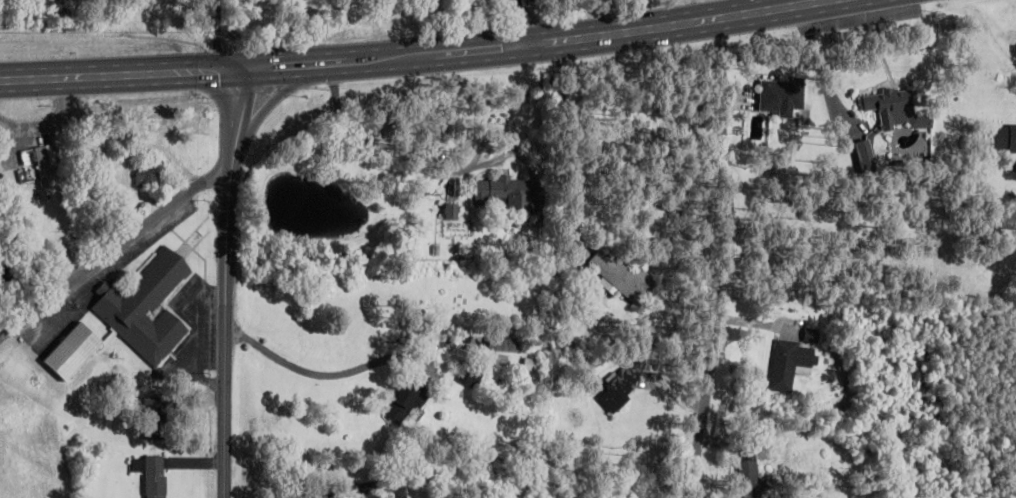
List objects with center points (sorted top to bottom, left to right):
park: (577, 5)
road: (525, 22)
road: (410, 55)
traffic signals: (240, 70)
building: (782, 95)
road: (279, 98)
road: (221, 102)
building: (895, 109)
building: (1002, 138)
building: (867, 156)
building: (38, 162)
building: (148, 174)
building: (504, 192)
road: (117, 246)
parking lot: (138, 248)
road: (711, 259)
building: (622, 277)
road: (225, 283)
building: (145, 307)
parking lot: (50, 326)
parking lot: (194, 327)
building: (504, 345)
building: (70, 350)
building: (532, 364)
building: (790, 364)
building: (471, 376)
building: (617, 390)
building: (408, 397)
building: (155, 418)
building: (151, 474)
building: (750, 479)

